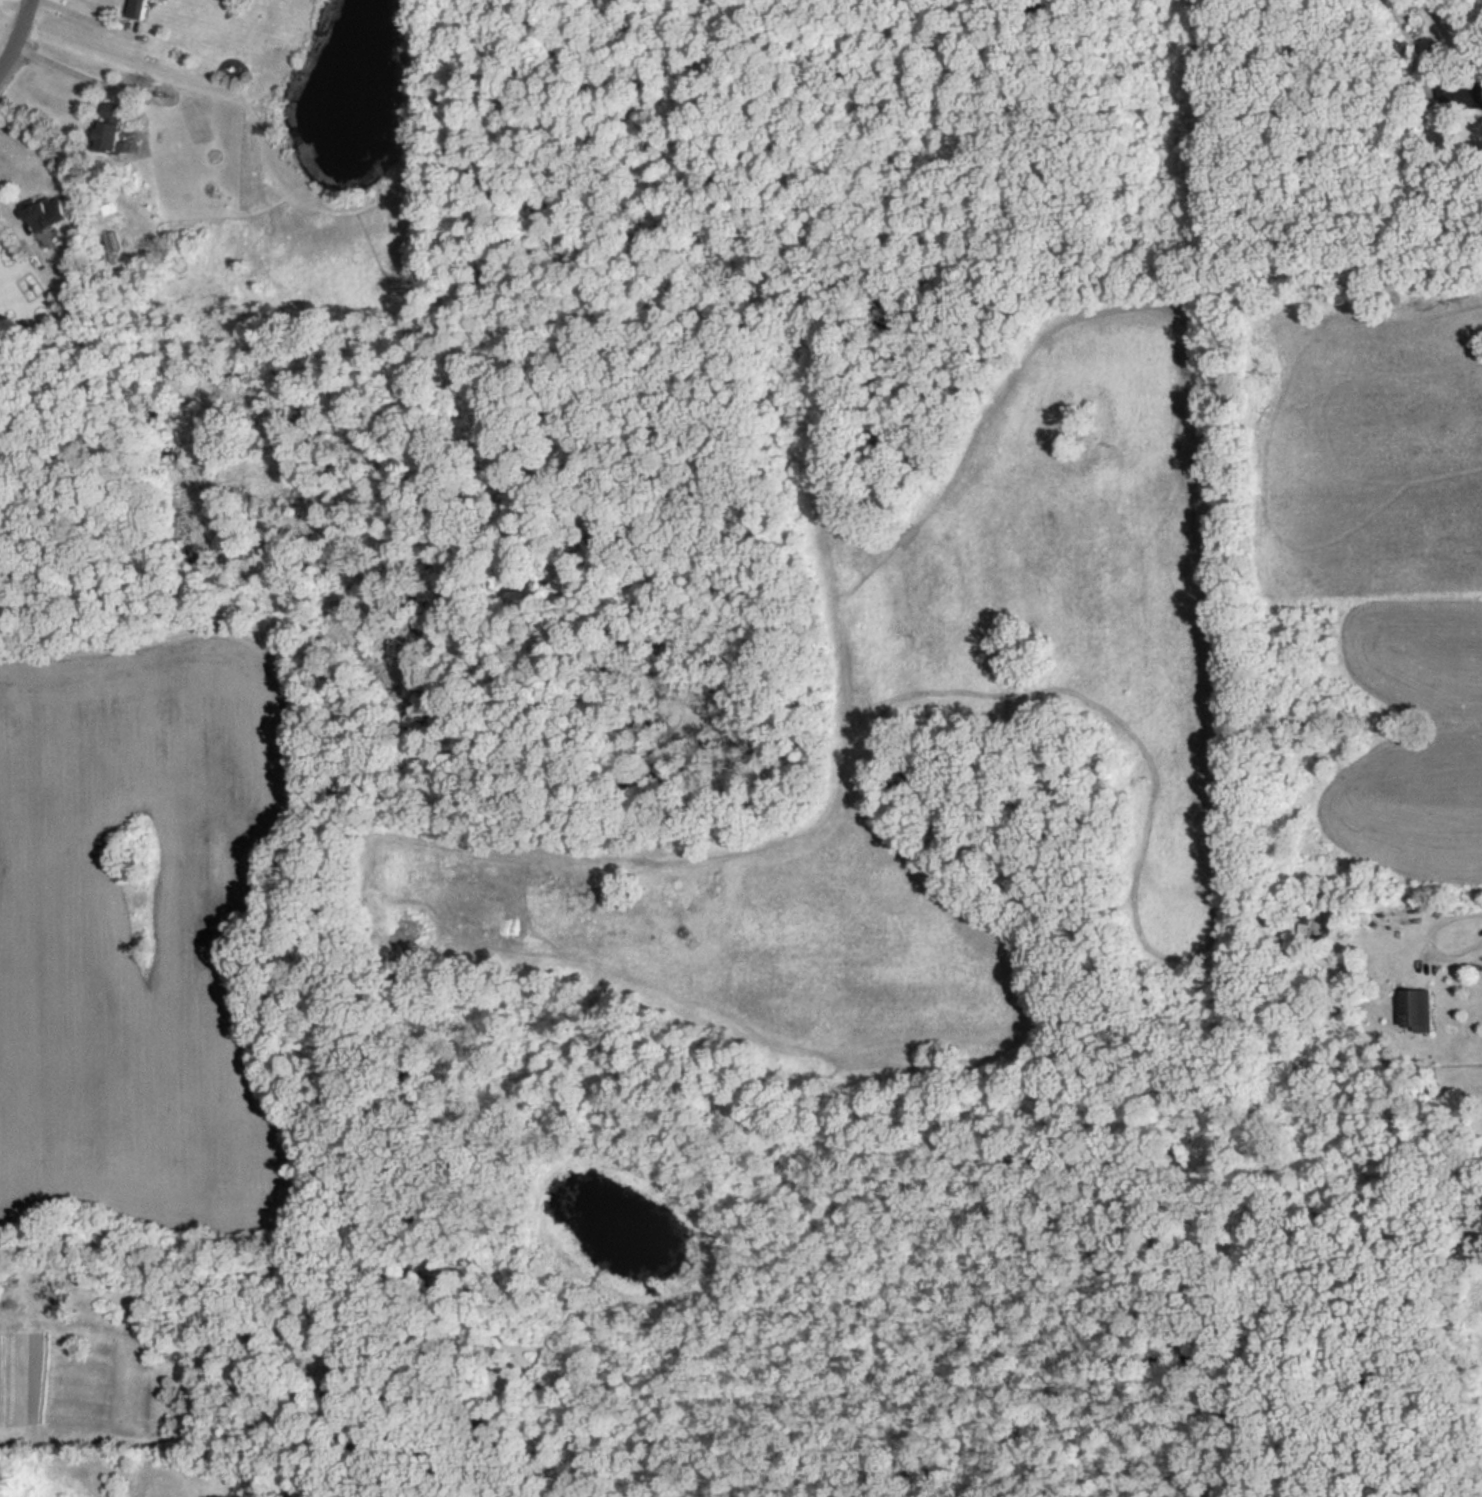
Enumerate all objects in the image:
building: (142, 9)
road: (95, 15)
road: (17, 35)
road: (1432, 39)
road: (66, 68)
building: (112, 129)
road: (6, 208)
building: (49, 213)
road: (1430, 939)
building: (1419, 1010)

